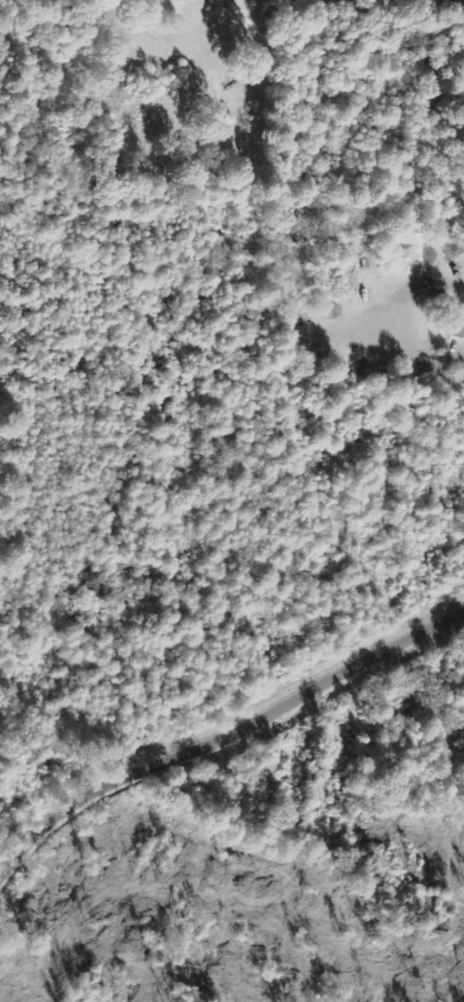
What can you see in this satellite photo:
road: (410, 340)
road: (219, 745)

